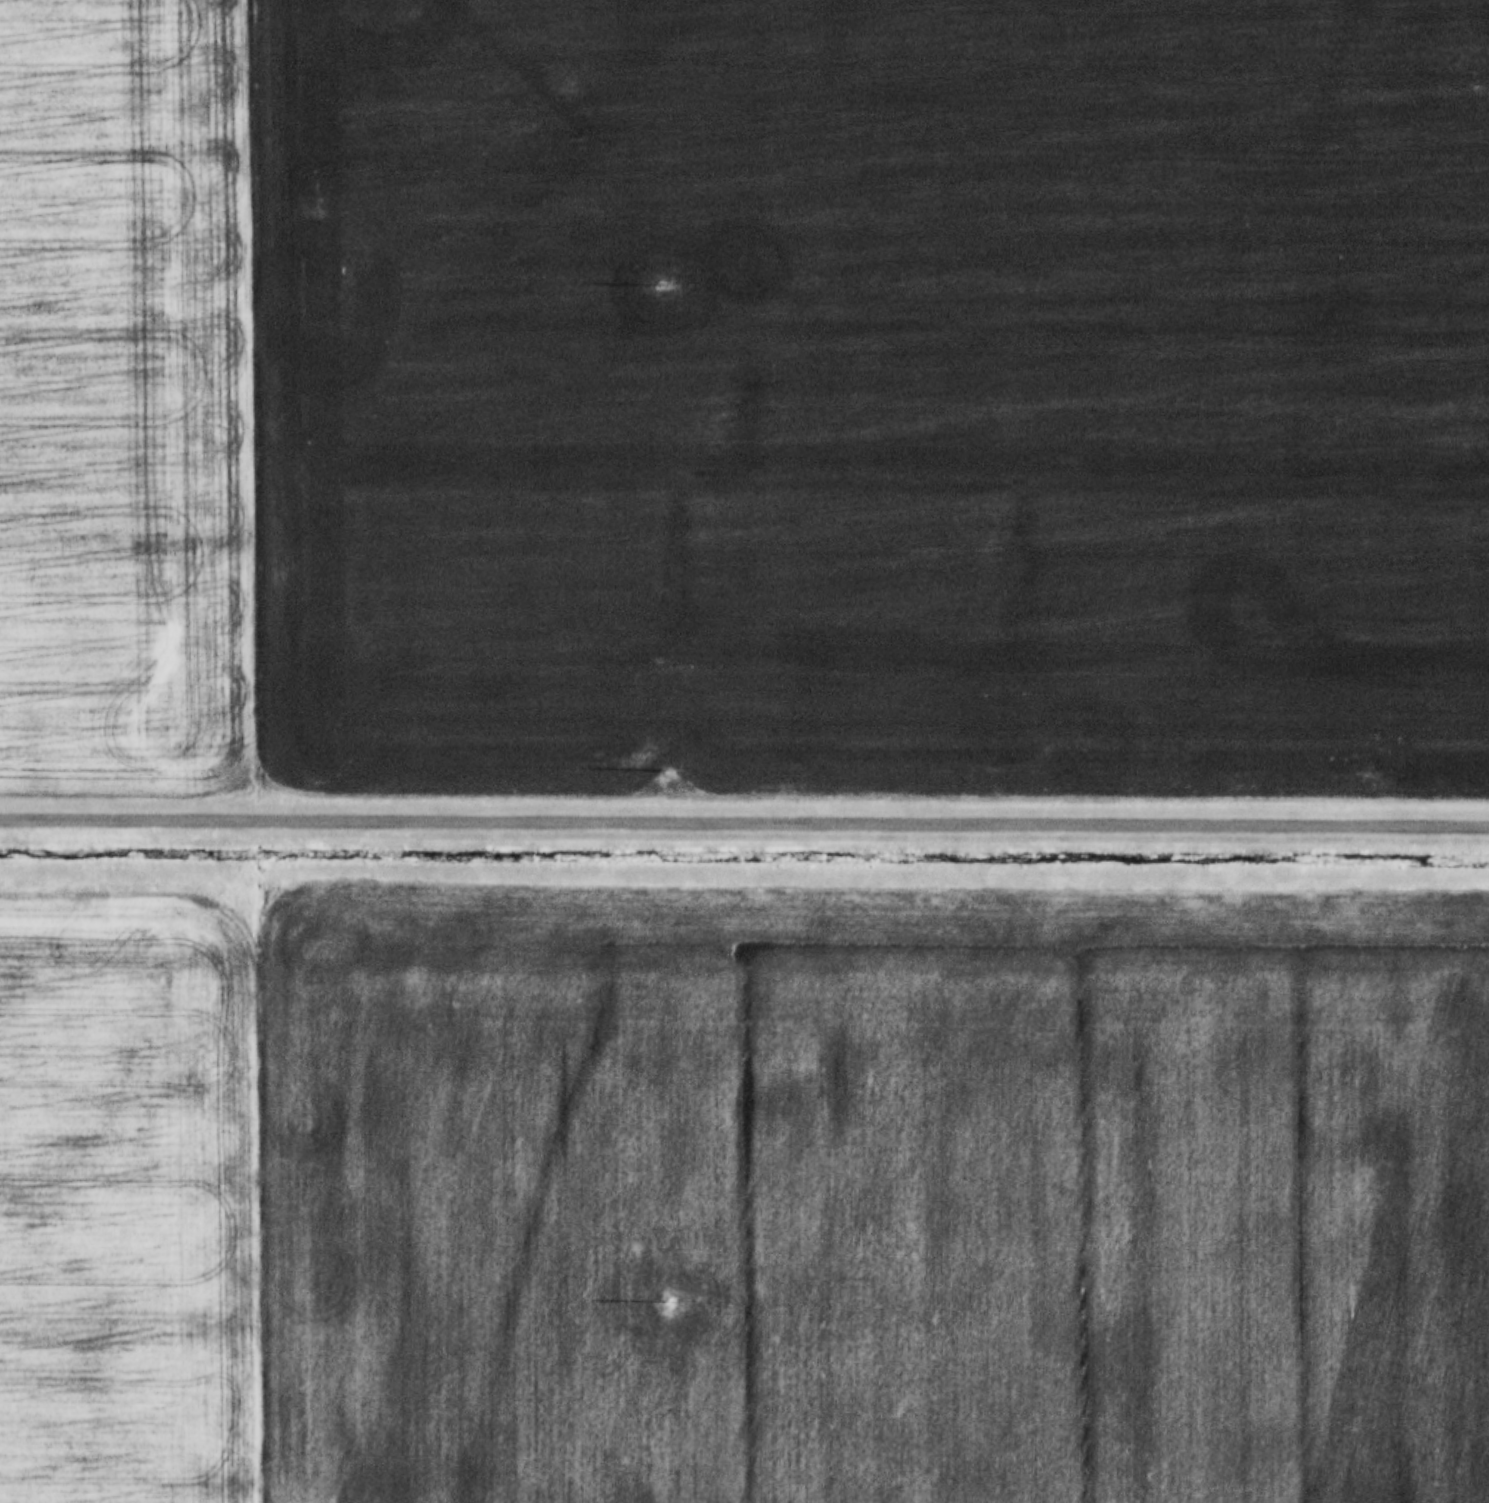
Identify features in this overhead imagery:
power tower: (658, 286)
crop: (130, 396)
crop: (876, 397)
power tower: (668, 769)
road: (744, 820)
crop: (874, 1193)
crop: (130, 1197)
power tower: (666, 1303)

